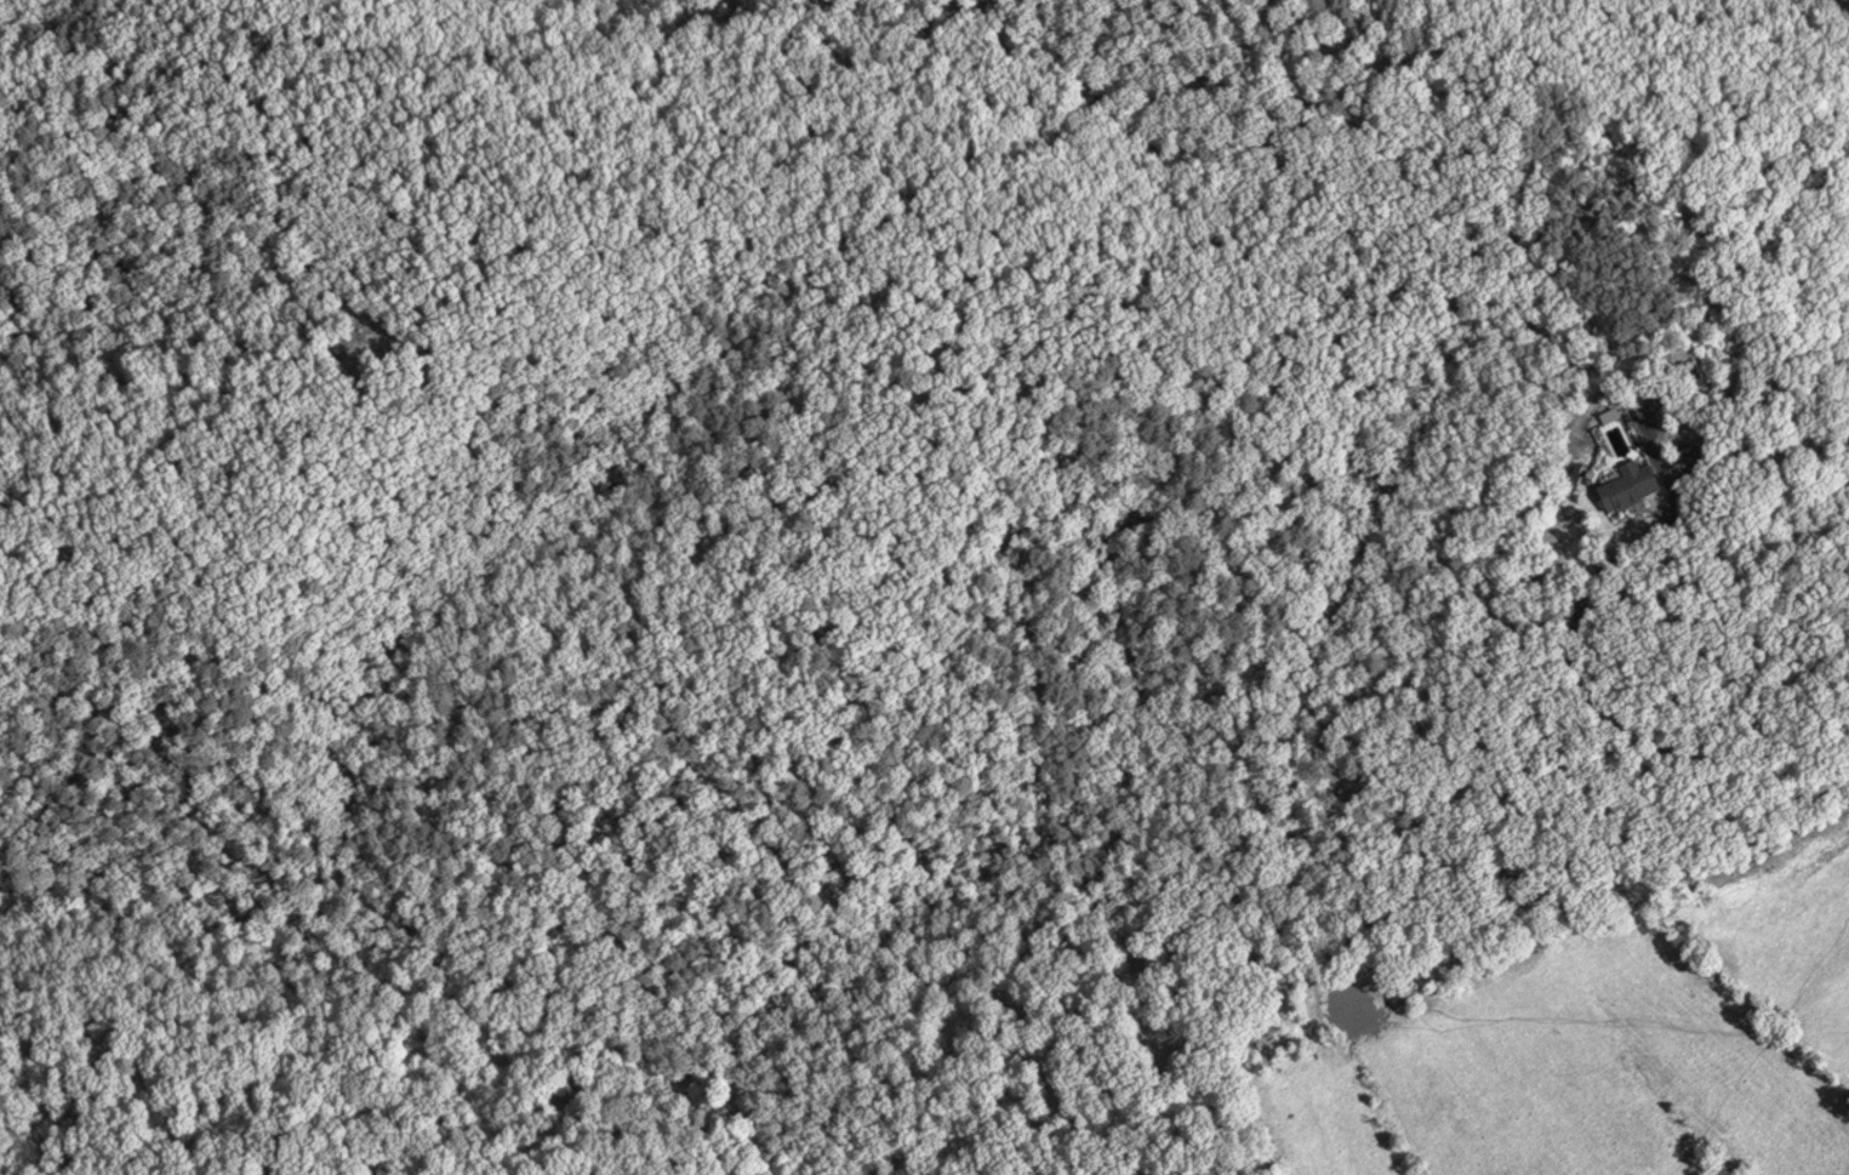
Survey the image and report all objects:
building: (1690, 454)
building: (1630, 487)

